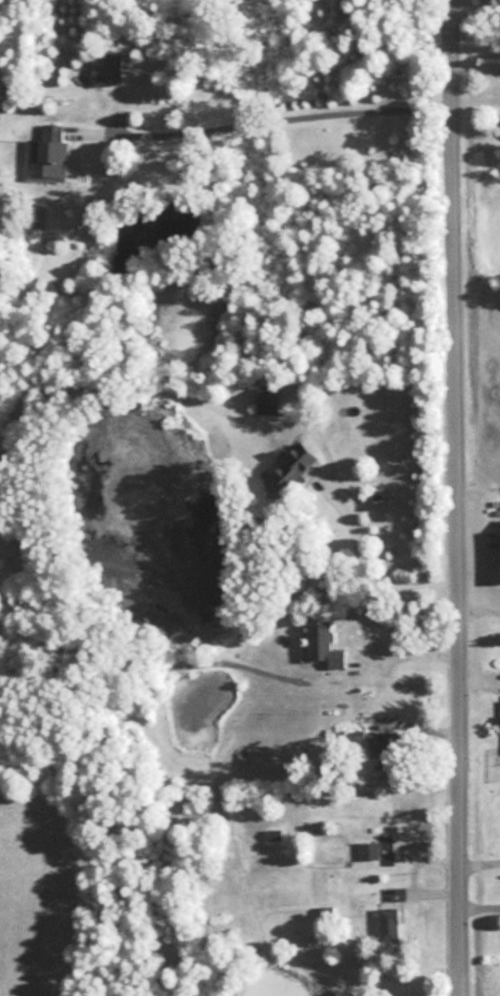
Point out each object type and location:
road: (476, 11)
road: (477, 65)
building: (111, 72)
road: (477, 101)
road: (274, 121)
building: (51, 157)
building: (267, 401)
building: (297, 469)
road: (457, 497)
road: (366, 565)
building: (323, 647)
road: (405, 655)
building: (356, 735)
building: (385, 745)
building: (369, 850)
road: (480, 862)
building: (389, 924)

